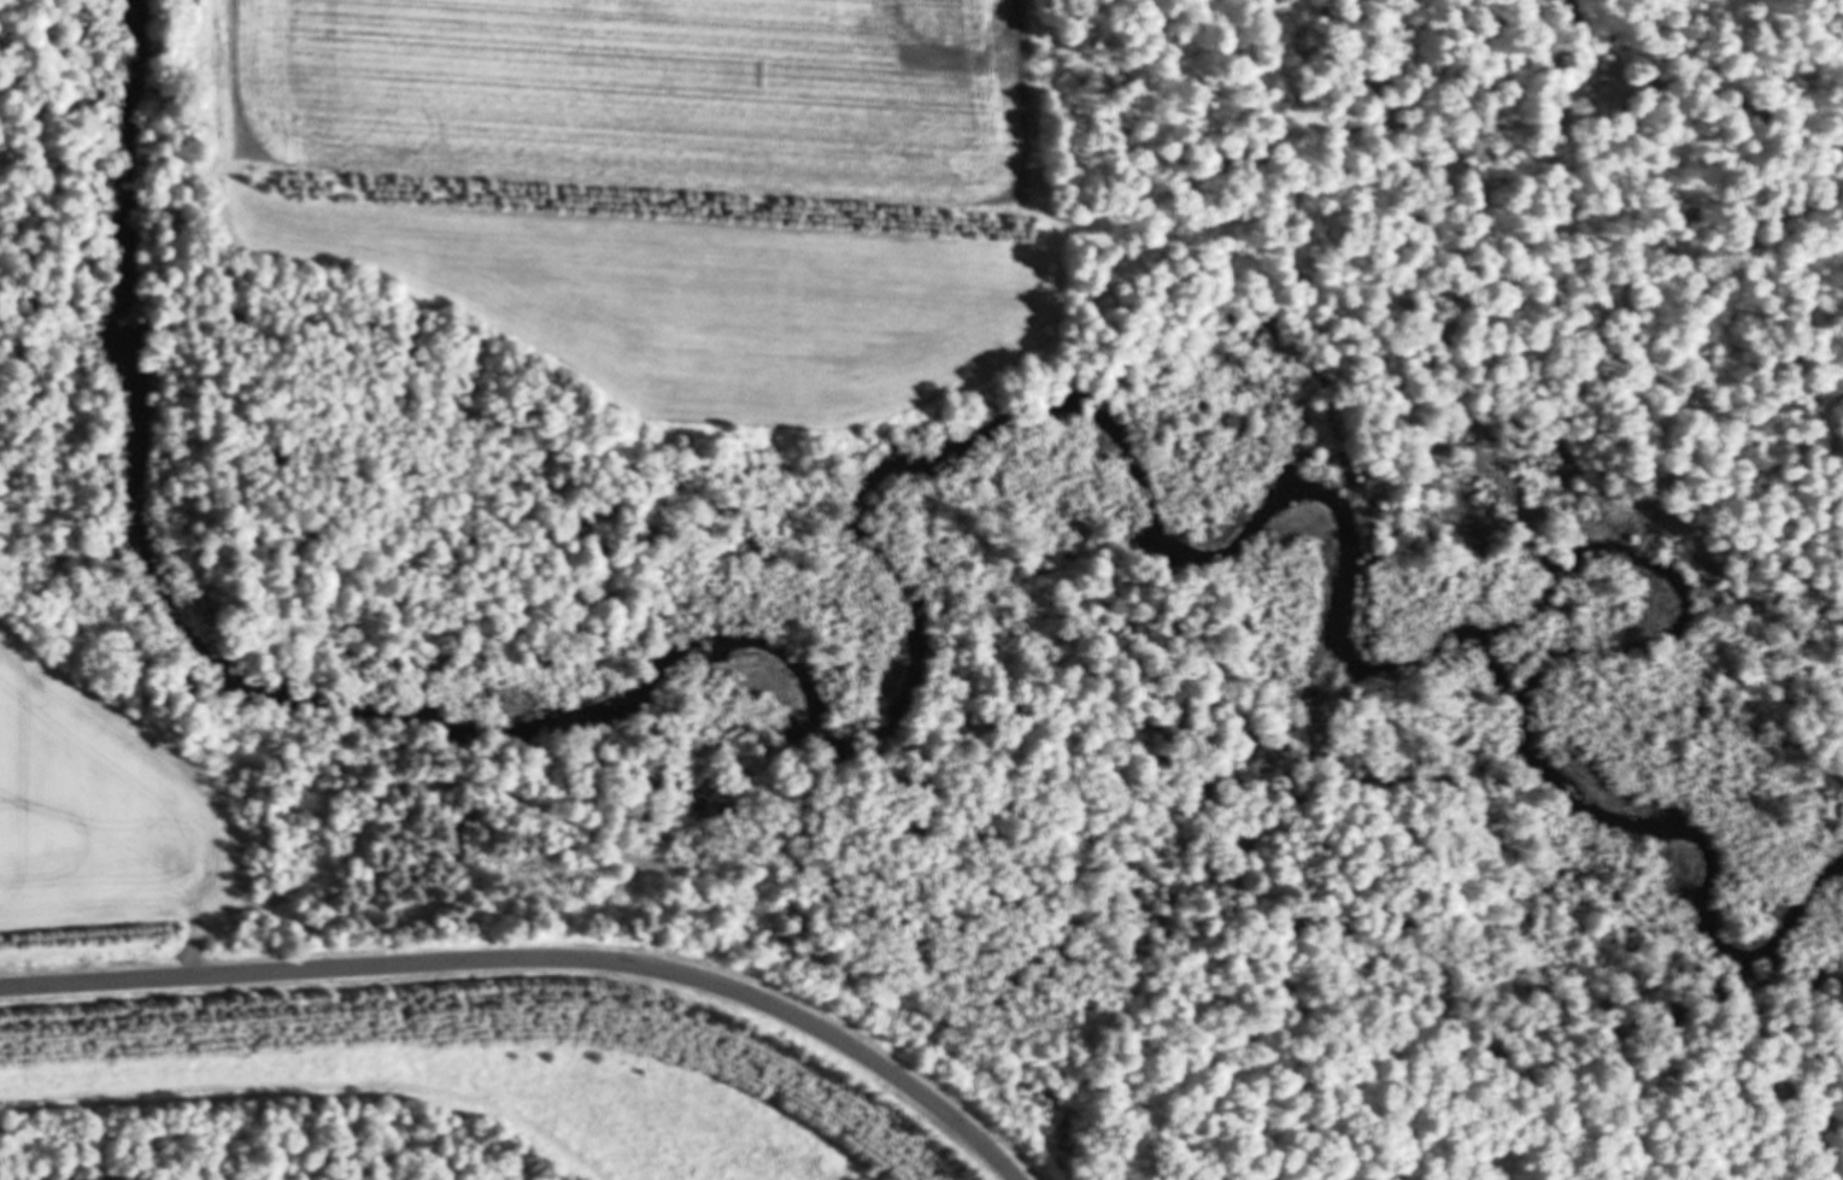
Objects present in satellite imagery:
river: (890, 476)
road: (540, 956)

